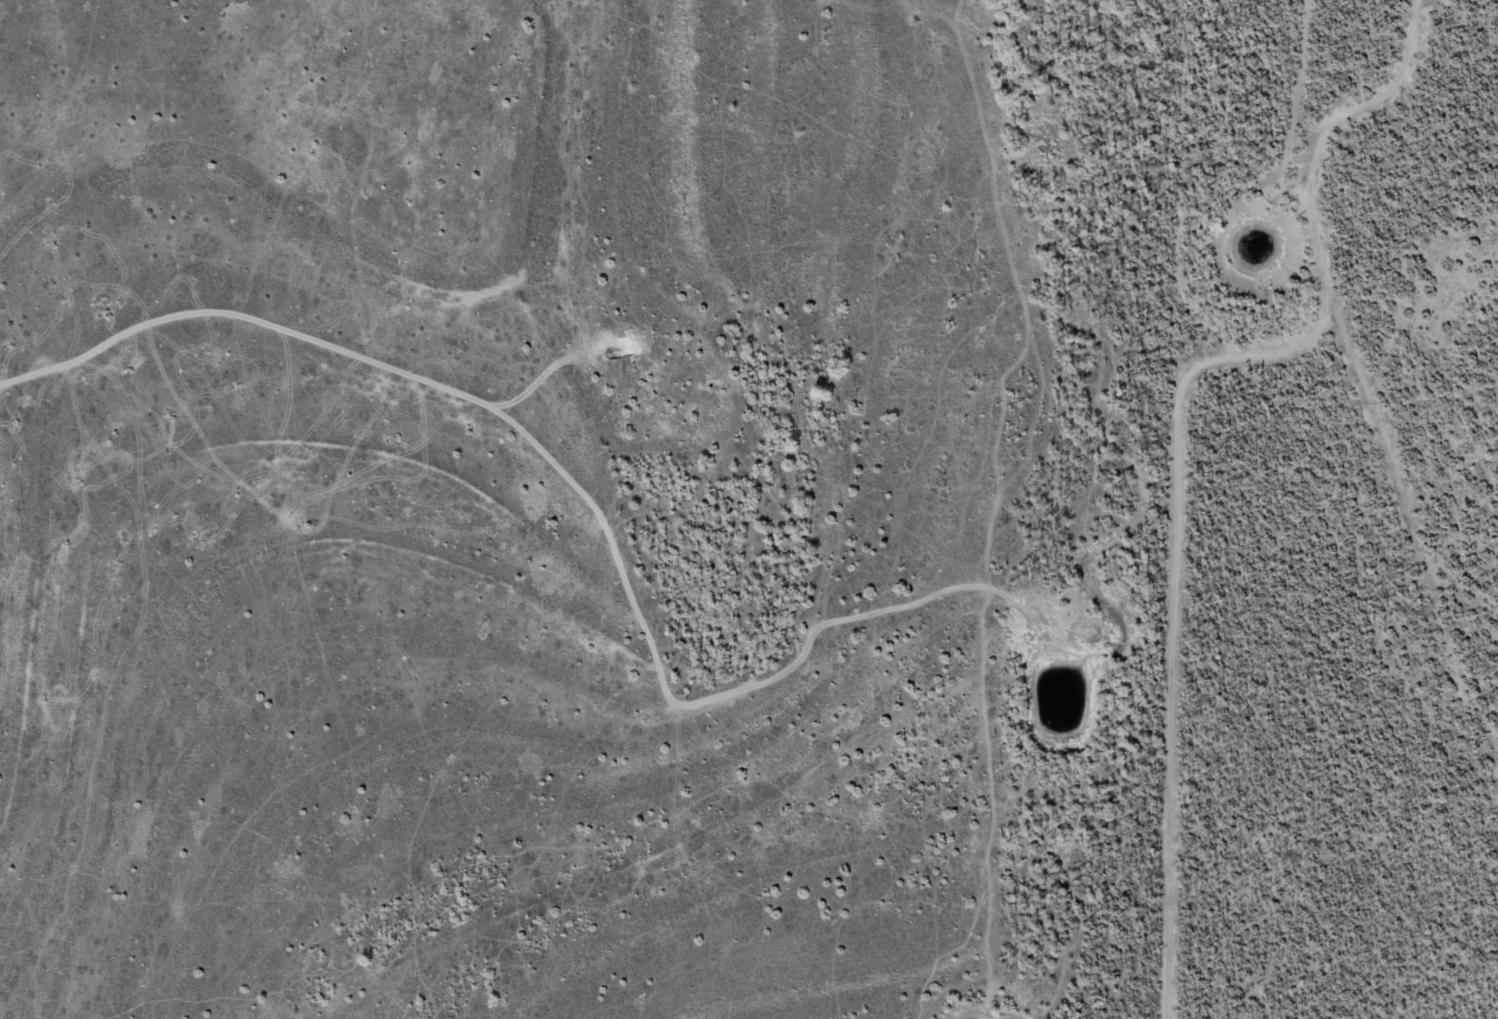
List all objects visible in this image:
road: (773, 427)

